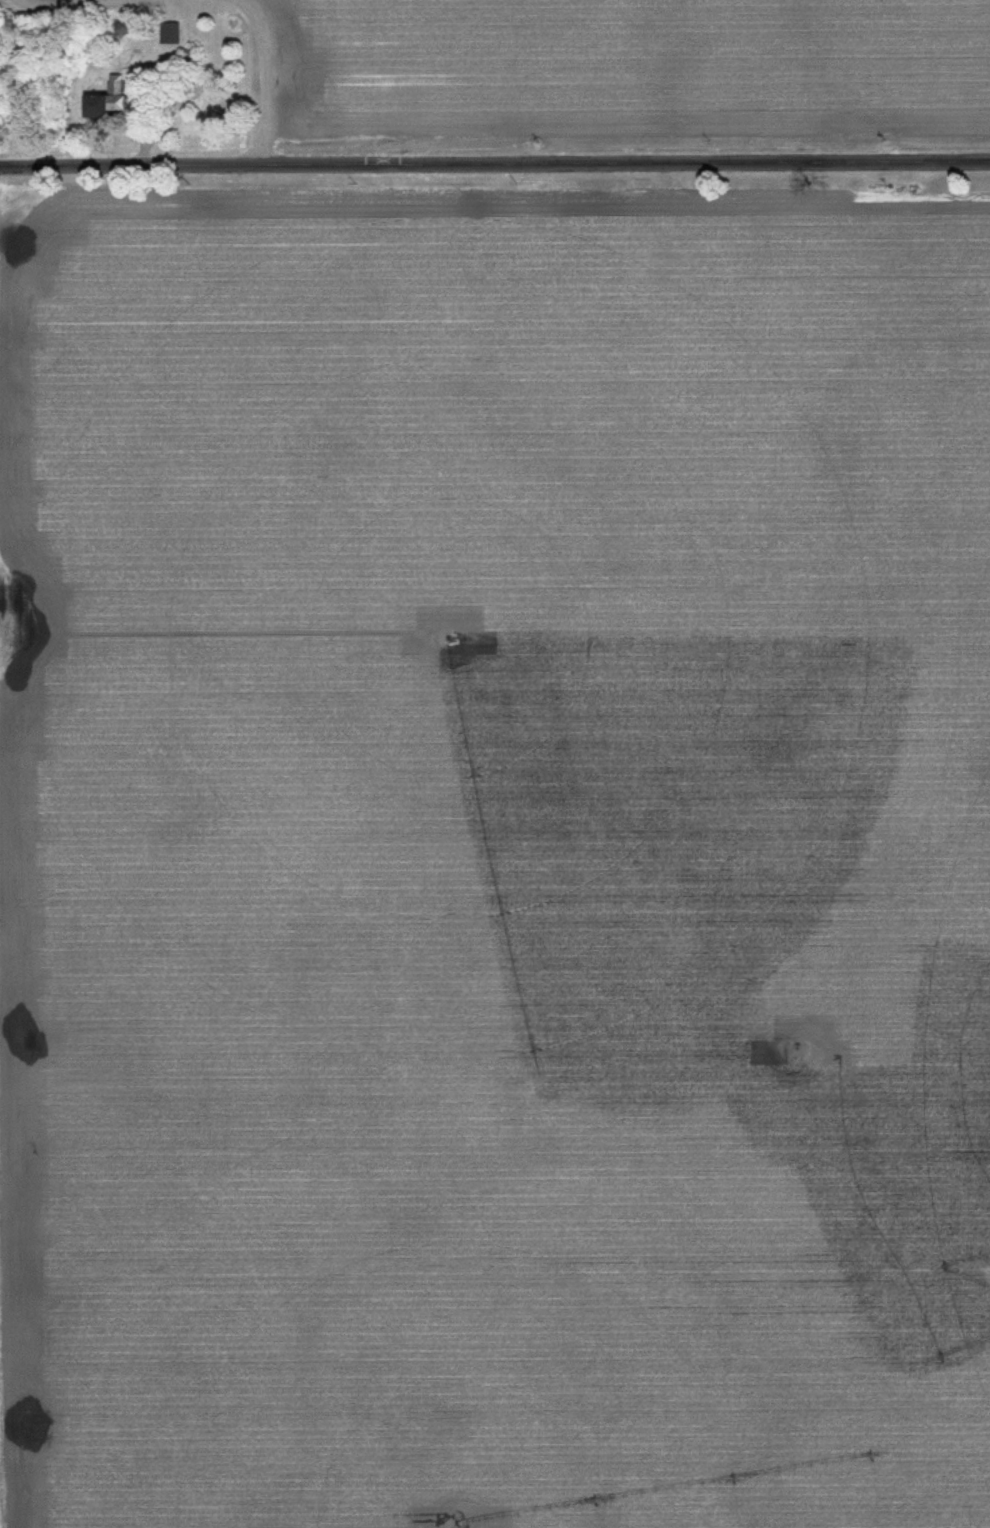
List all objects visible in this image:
building: (166, 34)
crop: (633, 64)
building: (100, 102)
road: (495, 164)
crop: (510, 861)

